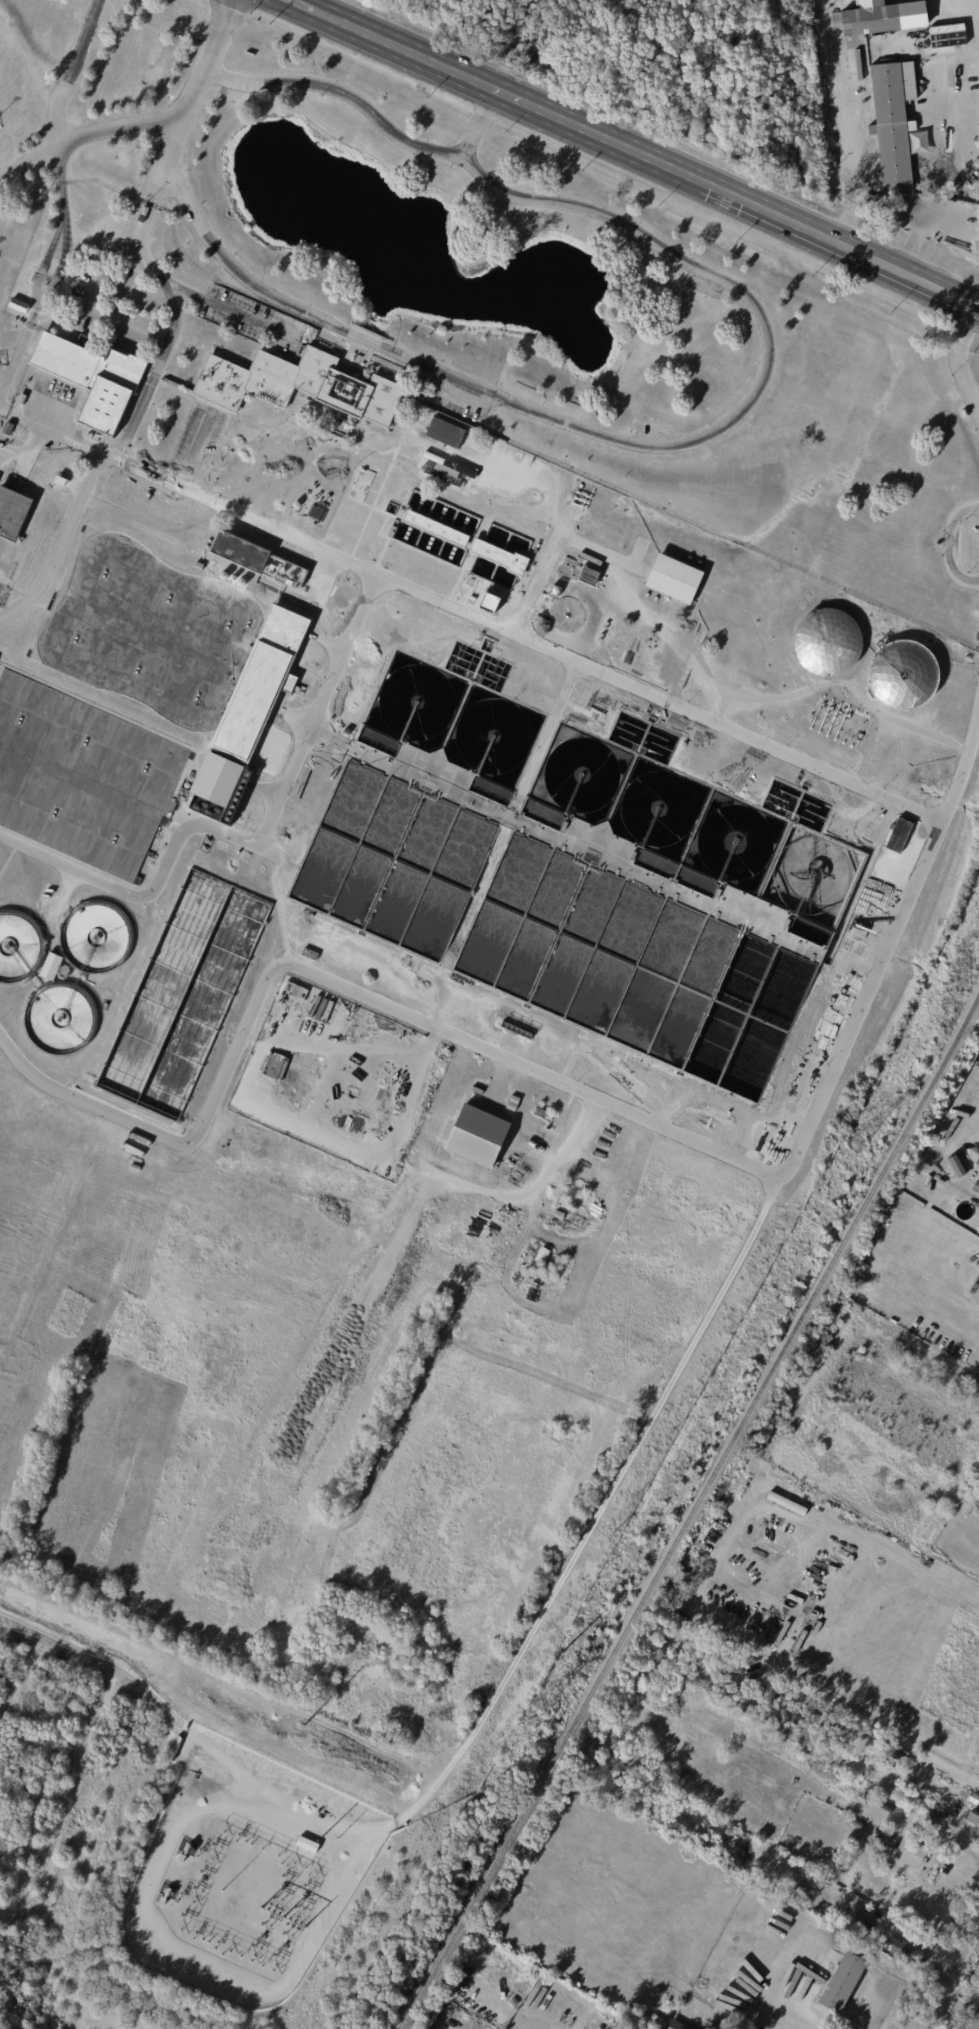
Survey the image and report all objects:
road: (299, 7)
road: (973, 10)
building: (879, 17)
road: (190, 101)
road: (844, 122)
road: (479, 123)
building: (891, 123)
road: (87, 136)
road: (647, 157)
road: (934, 172)
road: (65, 201)
building: (142, 208)
building: (15, 304)
road: (978, 308)
road: (173, 330)
road: (956, 361)
building: (87, 375)
building: (298, 383)
road: (756, 391)
road: (3, 406)
building: (5, 428)
building: (450, 429)
building: (88, 434)
parking lot: (197, 438)
road: (192, 446)
building: (441, 446)
building: (432, 457)
building: (446, 471)
building: (360, 483)
building: (71, 484)
building: (10, 511)
building: (116, 524)
building: (435, 527)
building: (392, 530)
road: (60, 542)
building: (150, 544)
road: (948, 544)
building: (221, 551)
building: (498, 556)
building: (577, 572)
building: (671, 578)
road: (474, 615)
building: (827, 640)
building: (903, 673)
building: (258, 680)
building: (858, 733)
building: (220, 784)
wastewater plant: (423, 854)
road: (65, 865)
building: (310, 954)
building: (53, 966)
building: (293, 990)
building: (357, 1010)
road: (15, 1051)
building: (274, 1065)
road: (586, 1093)
building: (541, 1112)
building: (949, 1131)
building: (476, 1139)
power tower: (856, 1140)
building: (954, 1166)
building: (262, 1187)
building: (559, 1216)
railway: (691, 1512)
road: (575, 1547)
power tower: (555, 1659)
road: (225, 1678)
power tower: (540, 1704)
power tower: (306, 1725)
building: (893, 1778)
building: (953, 1788)
building: (973, 1798)
building: (927, 1805)
building: (973, 1817)
building: (44, 1819)
building: (876, 1832)
building: (307, 1845)
building: (910, 1853)
building: (181, 1858)
power substation: (247, 1872)
building: (162, 1896)
building: (811, 1905)
building: (148, 1929)
building: (906, 1952)
road: (949, 1976)
building: (532, 1978)
building: (840, 1983)
road: (865, 2010)
building: (605, 2012)
building: (973, 2020)
building: (607, 2025)
building: (676, 2025)
building: (702, 2025)
building: (754, 2027)
building: (633, 2028)
building: (711, 2028)

